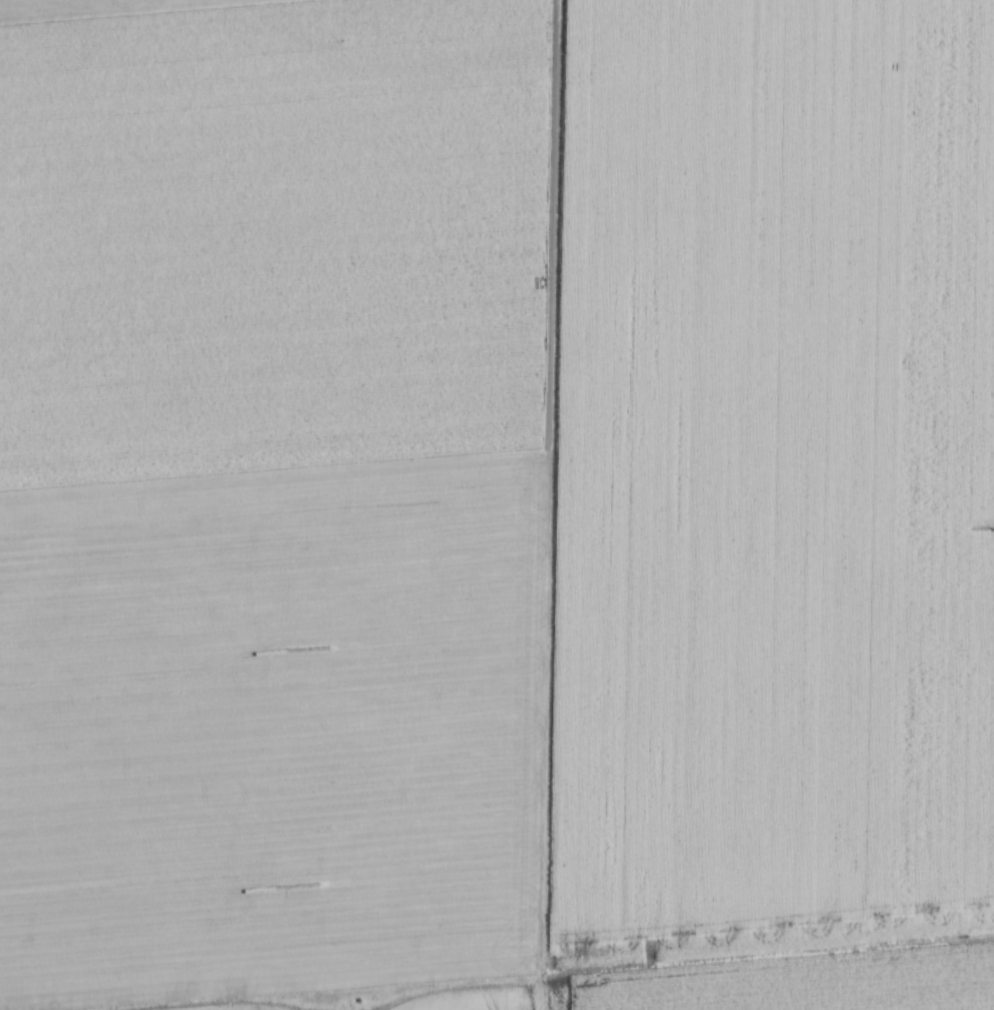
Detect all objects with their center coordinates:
crop: (497, 505)

